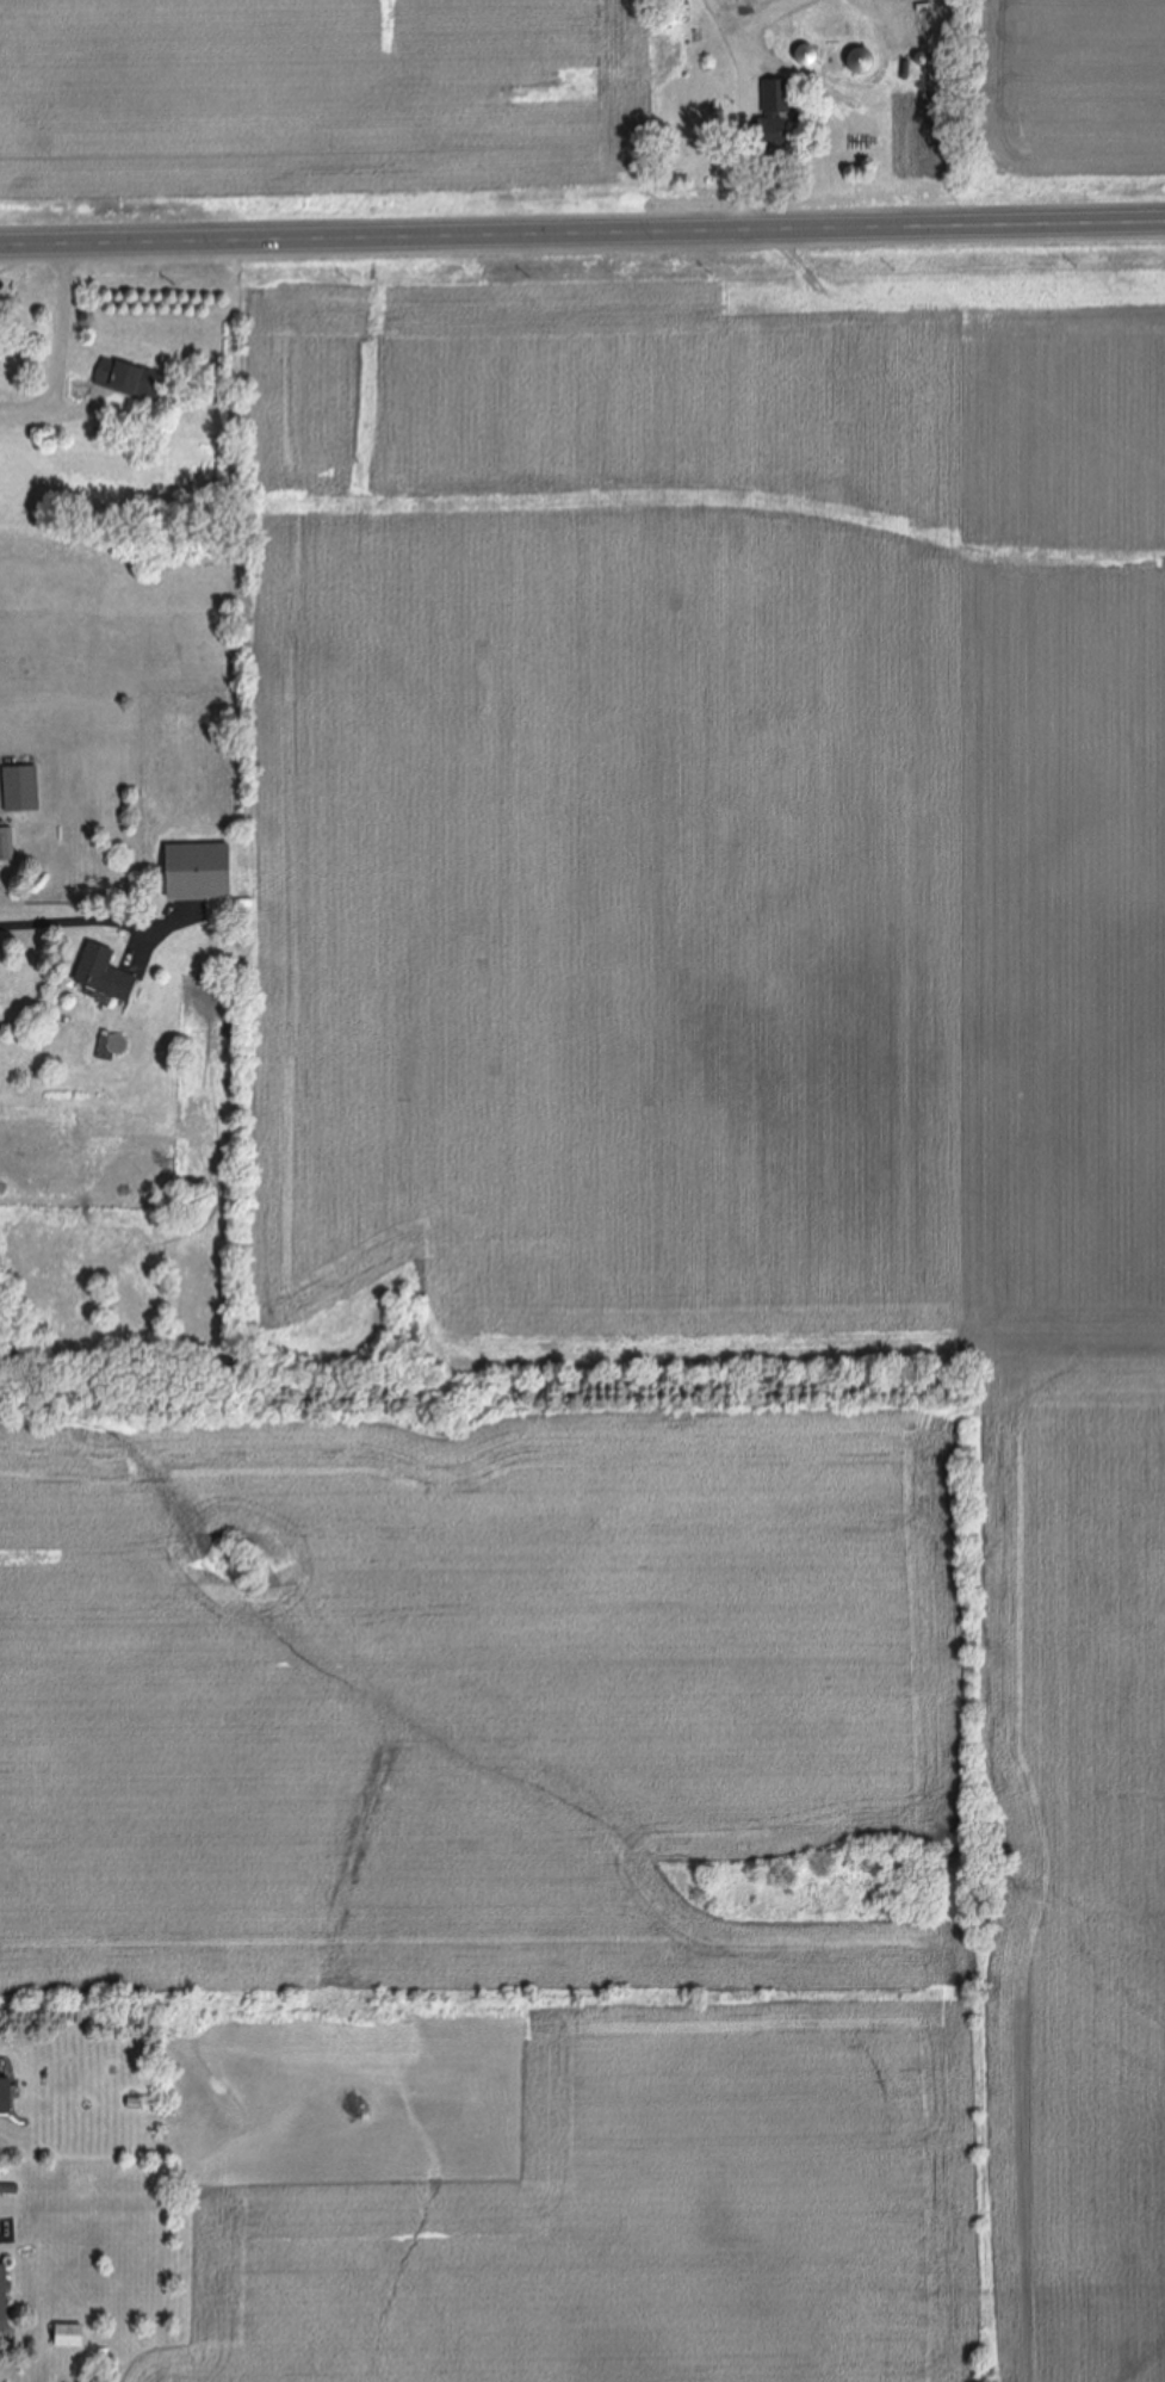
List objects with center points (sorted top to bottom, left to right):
building: (807, 55)
building: (861, 62)
road: (582, 239)
road: (51, 344)
building: (130, 379)
building: (21, 805)
building: (6, 843)
building: (200, 870)
road: (94, 907)
building: (105, 972)
building: (211, 976)
building: (173, 1204)
crop: (657, 1350)
building: (5, 2097)
building: (4, 2294)
building: (70, 2337)

